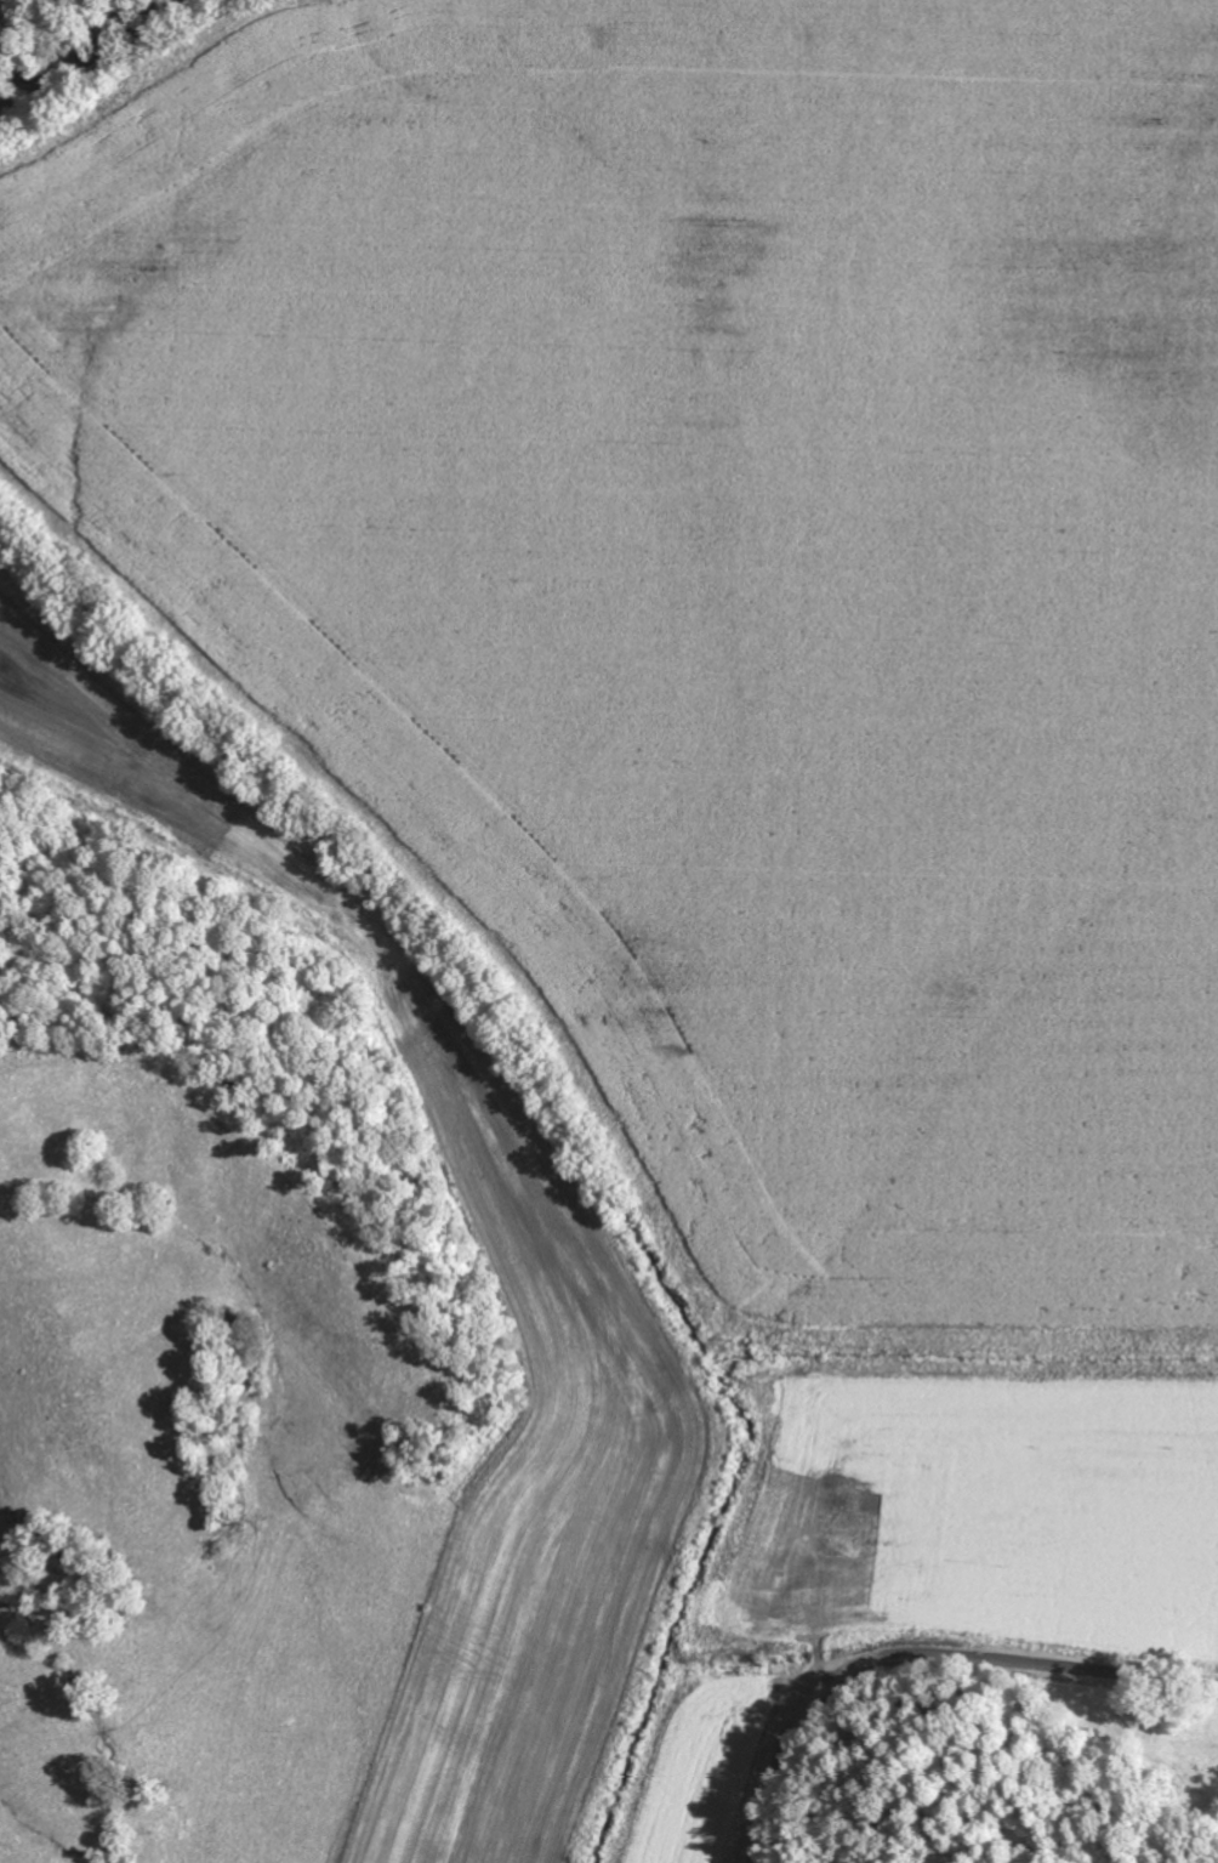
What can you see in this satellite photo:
road: (924, 1654)

